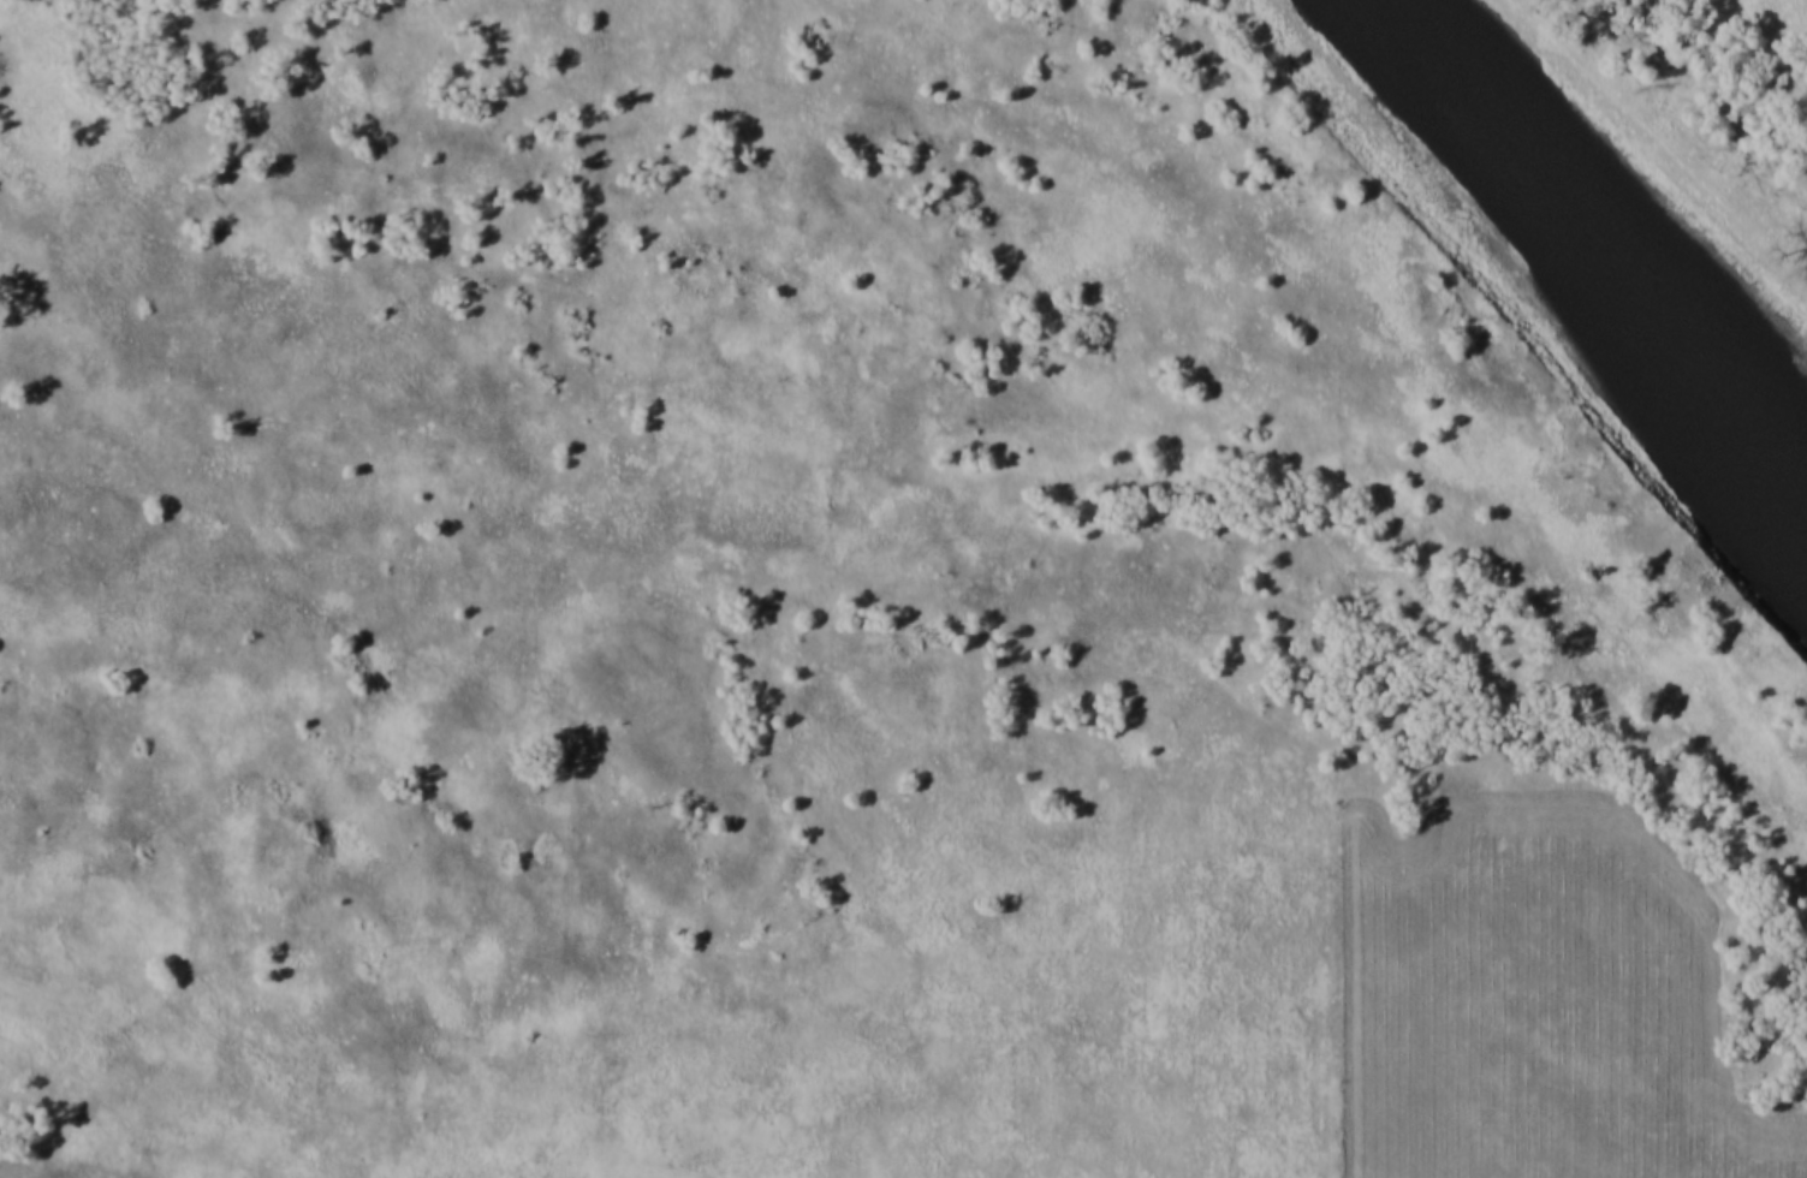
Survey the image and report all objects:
river: (1597, 214)

